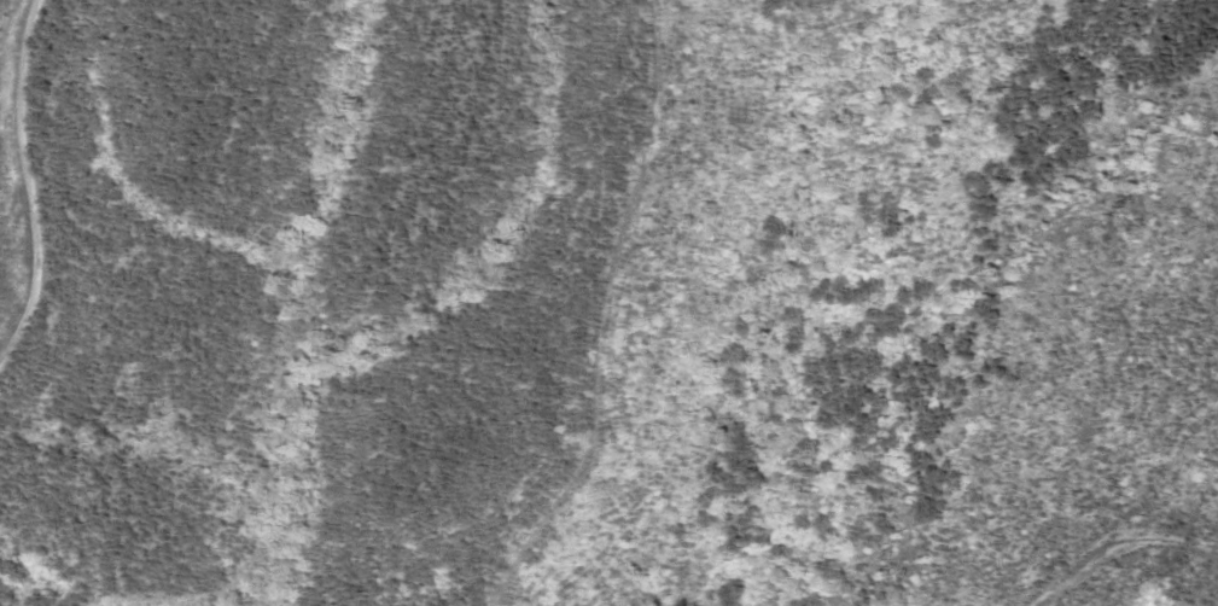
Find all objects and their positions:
road: (31, 187)

